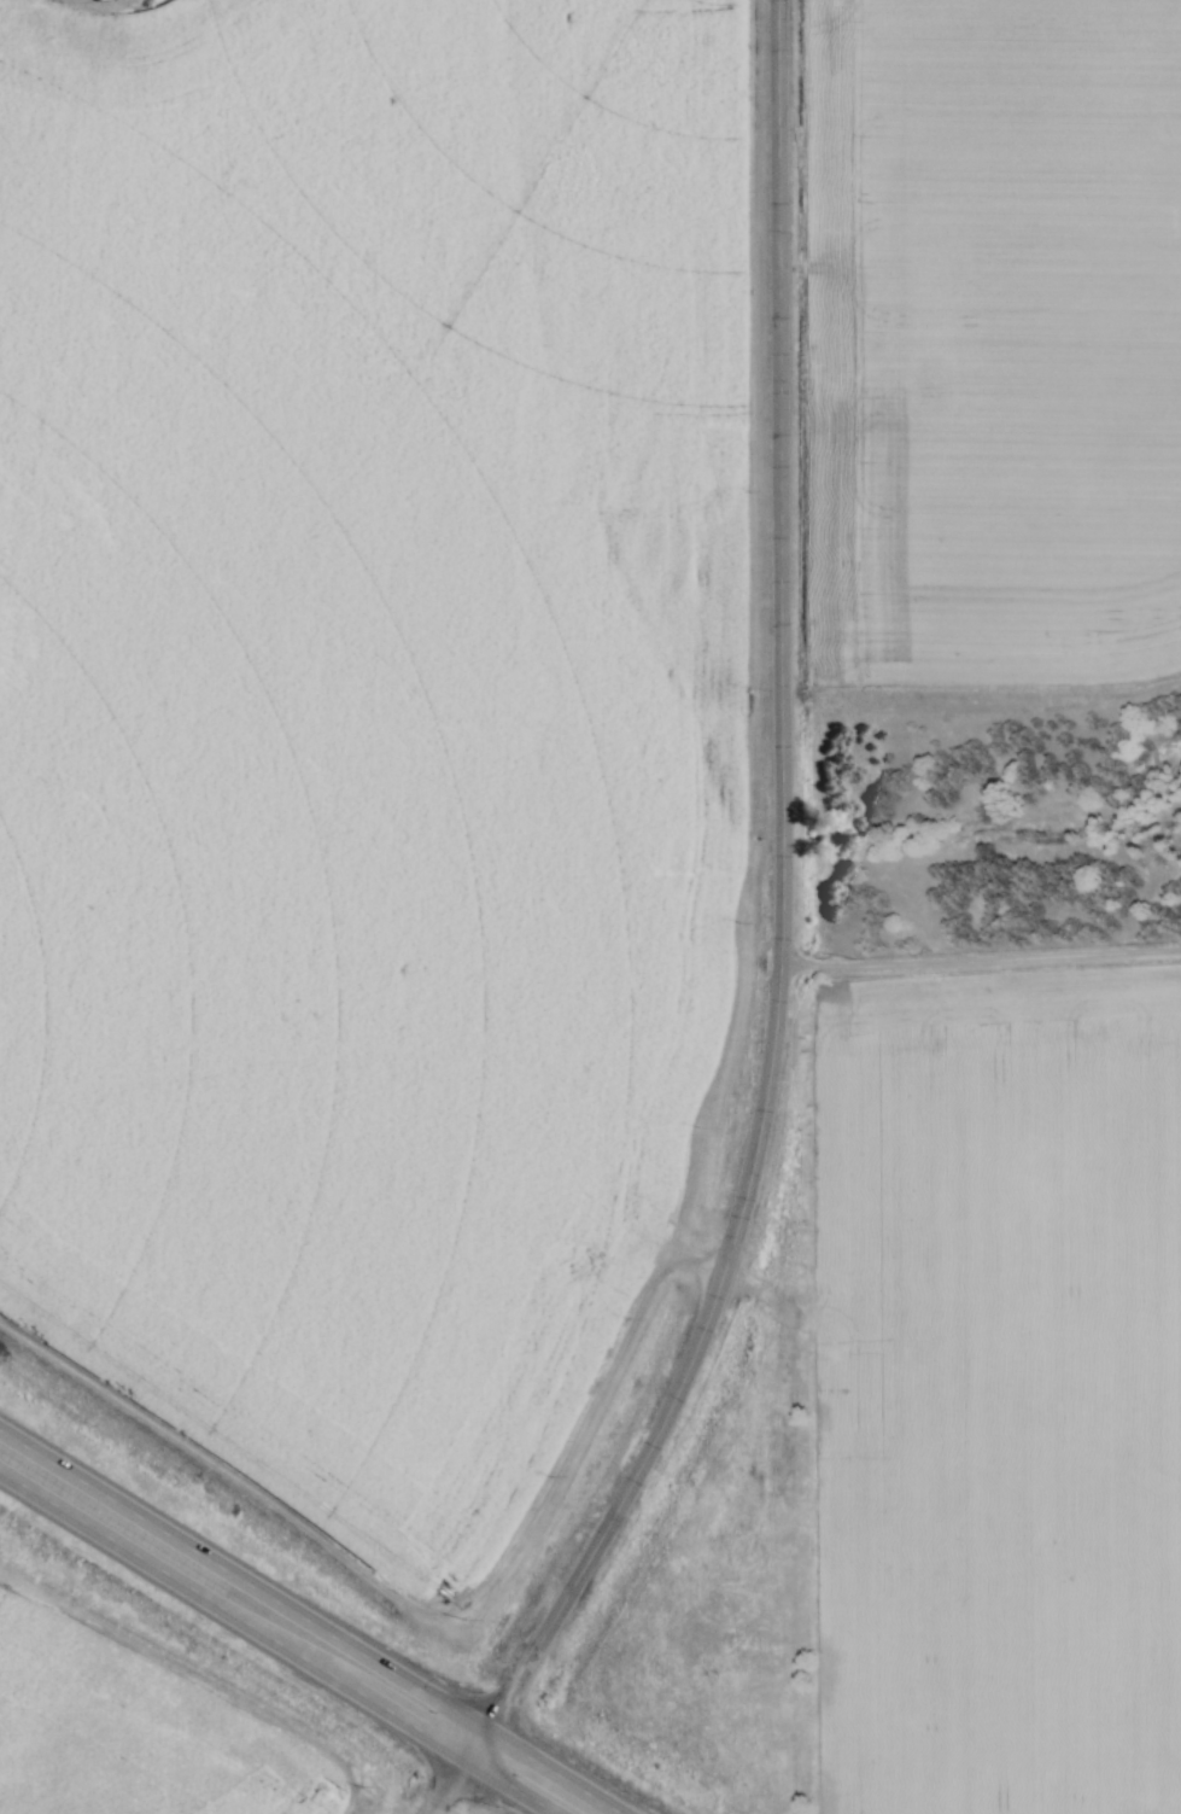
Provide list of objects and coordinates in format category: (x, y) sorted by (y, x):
building: (250, 302)
crop: (993, 350)
building: (179, 362)
building: (86, 526)
road: (787, 916)
road: (310, 1623)
road: (276, 1644)
crop: (129, 1733)
road: (444, 1786)

